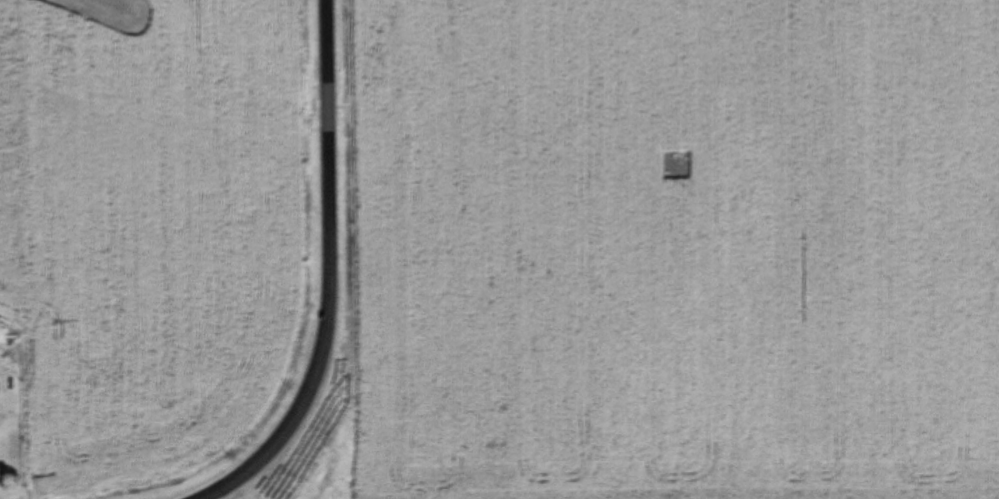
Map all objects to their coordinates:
road: (325, 272)

